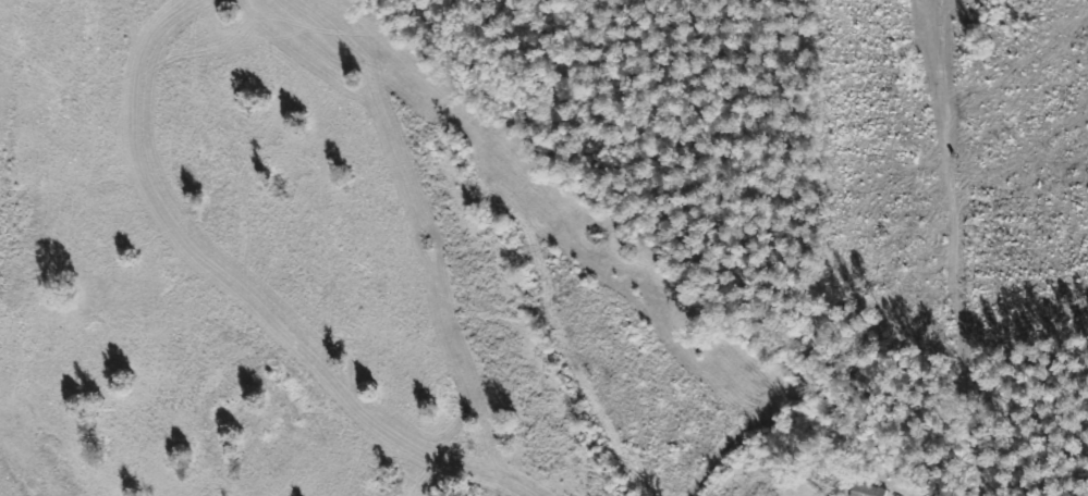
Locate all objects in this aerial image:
building: (868, 491)

